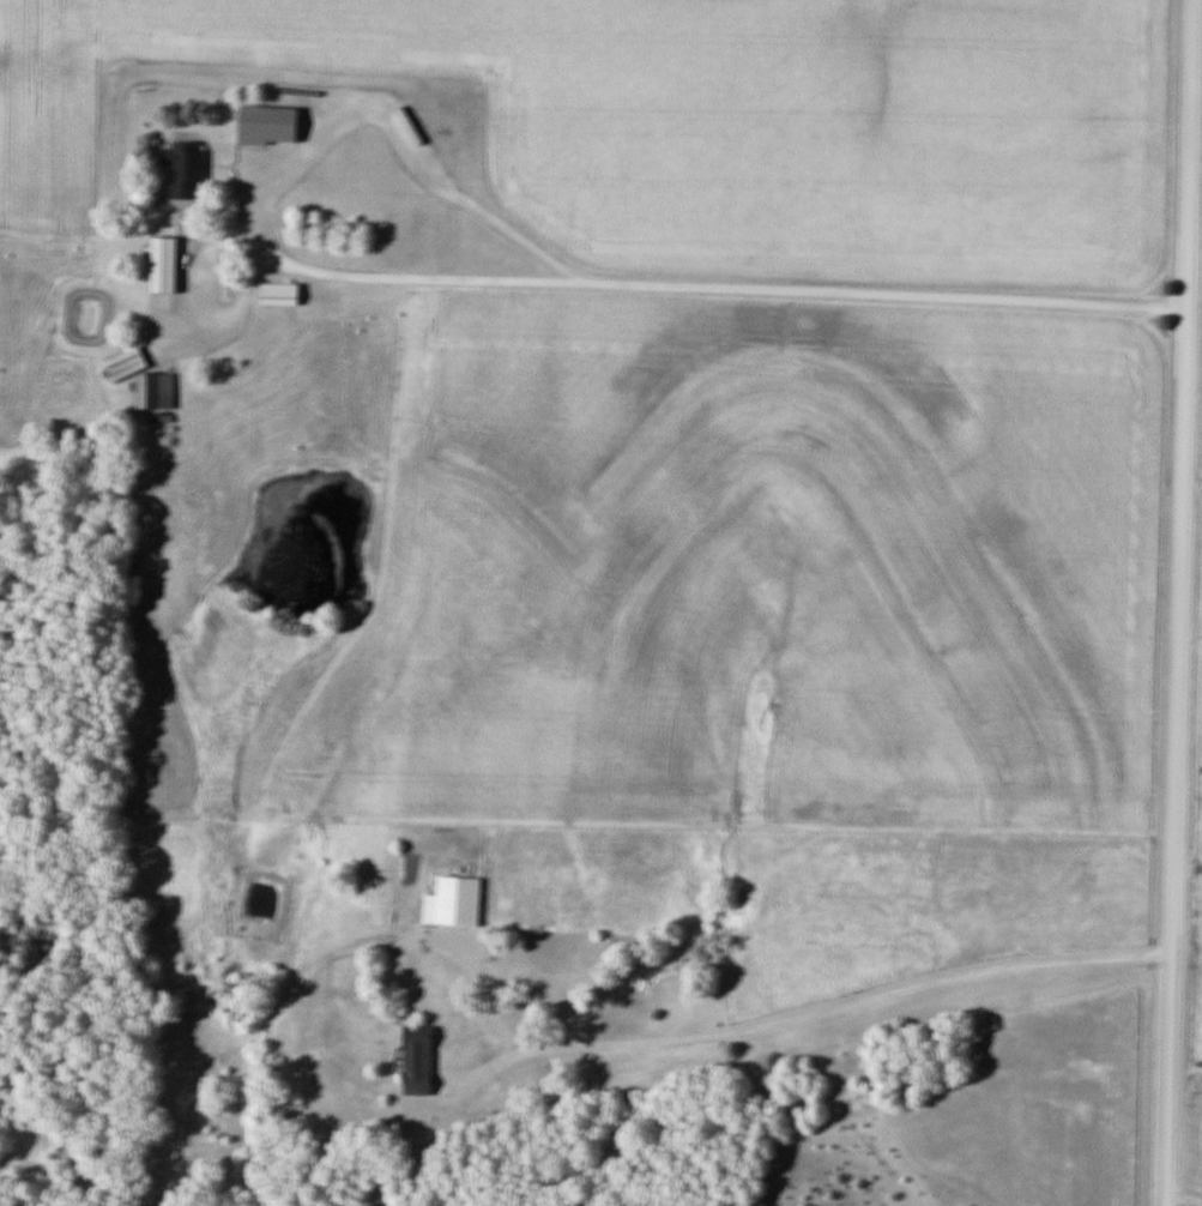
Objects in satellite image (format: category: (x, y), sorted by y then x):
building: (397, 121)
building: (254, 122)
building: (168, 269)
road: (483, 279)
building: (283, 294)
building: (157, 388)
road: (1176, 602)
building: (460, 899)
road: (801, 1012)
building: (423, 1059)
road: (1183, 1193)

